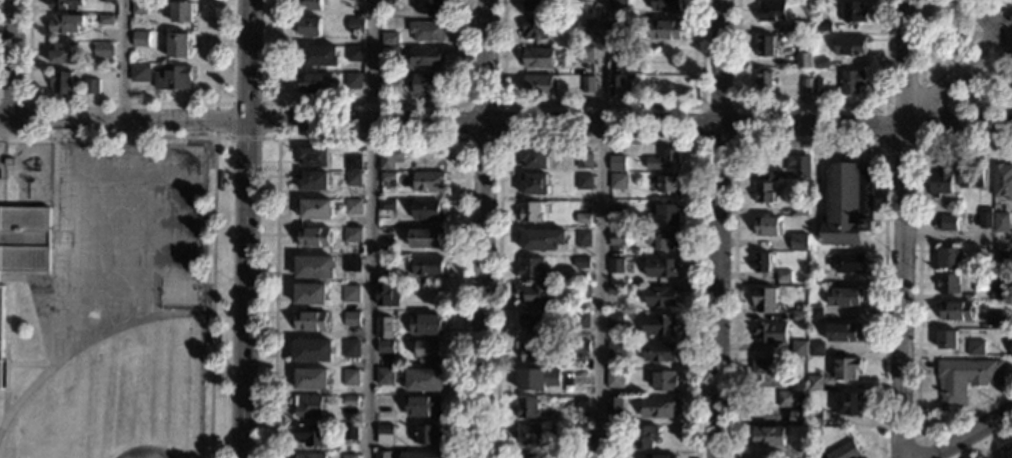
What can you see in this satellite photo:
building: (106, 0)
building: (352, 0)
building: (586, 0)
building: (65, 4)
building: (618, 4)
building: (309, 5)
building: (666, 5)
building: (430, 6)
building: (536, 6)
building: (139, 7)
road: (1000, 7)
building: (771, 11)
building: (181, 12)
building: (853, 12)
building: (105, 19)
building: (65, 24)
building: (355, 25)
building: (799, 25)
road: (987, 25)
building: (823, 26)
building: (309, 27)
building: (584, 27)
building: (618, 28)
building: (534, 29)
building: (665, 30)
building: (426, 31)
road: (975, 32)
building: (389, 38)
building: (140, 39)
building: (177, 46)
building: (765, 46)
building: (849, 46)
building: (102, 50)
building: (389, 50)
building: (355, 53)
building: (63, 54)
building: (585, 55)
building: (320, 56)
building: (426, 56)
road: (11, 57)
road: (123, 58)
building: (537, 58)
building: (618, 58)
building: (803, 60)
building: (820, 63)
road: (956, 72)
building: (140, 73)
road: (933, 73)
building: (172, 78)
building: (388, 79)
building: (764, 80)
building: (353, 81)
building: (852, 81)
building: (60, 82)
building: (314, 83)
building: (588, 84)
building: (425, 85)
building: (90, 86)
building: (537, 86)
building: (618, 86)
building: (805, 86)
building: (817, 86)
road: (955, 99)
road: (123, 101)
road: (246, 102)
road: (372, 103)
road: (27, 104)
road: (601, 105)
road: (810, 108)
road: (1, 122)
road: (505, 123)
road: (931, 128)
road: (69, 130)
road: (245, 138)
road: (371, 139)
road: (500, 139)
road: (599, 140)
road: (734, 142)
road: (806, 143)
road: (161, 145)
building: (313, 157)
building: (535, 157)
building: (389, 158)
building: (671, 159)
building: (583, 161)
building: (8, 162)
building: (352, 162)
building: (616, 163)
building: (798, 166)
building: (774, 176)
building: (387, 177)
building: (971, 177)
building: (352, 178)
building: (220, 180)
building: (313, 181)
building: (427, 181)
building: (617, 181)
building: (1002, 181)
road: (53, 182)
building: (583, 182)
building: (941, 182)
building: (534, 184)
building: (668, 185)
road: (212, 191)
building: (764, 193)
building: (386, 205)
building: (847, 205)
building: (353, 207)
building: (315, 209)
building: (427, 210)
building: (800, 211)
building: (530, 212)
building: (668, 215)
building: (616, 216)
building: (985, 218)
building: (582, 219)
building: (1000, 222)
building: (948, 223)
building: (768, 226)
road: (245, 228)
road: (481, 228)
road: (716, 228)
road: (902, 228)
road: (373, 229)
road: (602, 229)
building: (385, 234)
building: (352, 235)
road: (957, 236)
building: (313, 237)
building: (25, 238)
building: (424, 238)
building: (582, 238)
building: (615, 238)
building: (542, 239)
building: (662, 240)
building: (798, 242)
building: (635, 253)
building: (948, 258)
building: (386, 261)
building: (1011, 261)
building: (581, 263)
building: (761, 263)
building: (848, 263)
building: (351, 264)
building: (426, 266)
building: (615, 266)
building: (314, 267)
building: (531, 268)
building: (661, 268)
building: (783, 275)
road: (11, 277)
building: (816, 279)
building: (984, 279)
building: (949, 284)
building: (1010, 285)
building: (614, 290)
building: (997, 292)
park: (179, 294)
building: (310, 294)
building: (349, 294)
building: (538, 294)
building: (387, 295)
building: (583, 295)
building: (660, 296)
building: (844, 297)
building: (764, 299)
road: (917, 302)
building: (955, 311)
building: (814, 314)
building: (799, 315)
building: (351, 319)
building: (997, 319)
building: (310, 321)
building: (581, 321)
building: (614, 321)
building: (532, 323)
building: (425, 325)
building: (658, 325)
building: (383, 327)
building: (1, 331)
building: (842, 332)
building: (769, 333)
building: (947, 339)
road: (89, 340)
building: (1011, 345)
building: (385, 346)
building: (580, 346)
building: (798, 348)
building: (976, 348)
building: (350, 349)
building: (816, 349)
building: (615, 350)
building: (312, 351)
building: (428, 351)
building: (531, 351)
building: (659, 352)
road: (26, 363)
building: (764, 367)
building: (847, 369)
building: (384, 376)
building: (350, 377)
building: (613, 378)
building: (311, 379)
building: (538, 379)
building: (963, 379)
building: (424, 380)
building: (664, 380)
road: (4, 381)
building: (814, 383)
building: (796, 385)
building: (785, 399)
building: (350, 400)
building: (579, 402)
building: (849, 405)
building: (308, 406)
building: (423, 406)
building: (656, 407)
building: (613, 408)
building: (527, 409)
building: (814, 418)
building: (796, 419)
building: (349, 432)
building: (578, 433)
building: (613, 433)
road: (969, 433)
building: (384, 434)
building: (530, 434)
building: (311, 435)
building: (427, 435)
building: (645, 436)
building: (766, 436)
park: (142, 442)
road: (906, 443)
building: (844, 451)
road: (1003, 453)
building: (383, 454)
building: (419, 455)
building: (612, 455)
building: (310, 456)
building: (349, 456)
building: (534, 456)
building: (577, 456)
building: (658, 456)

